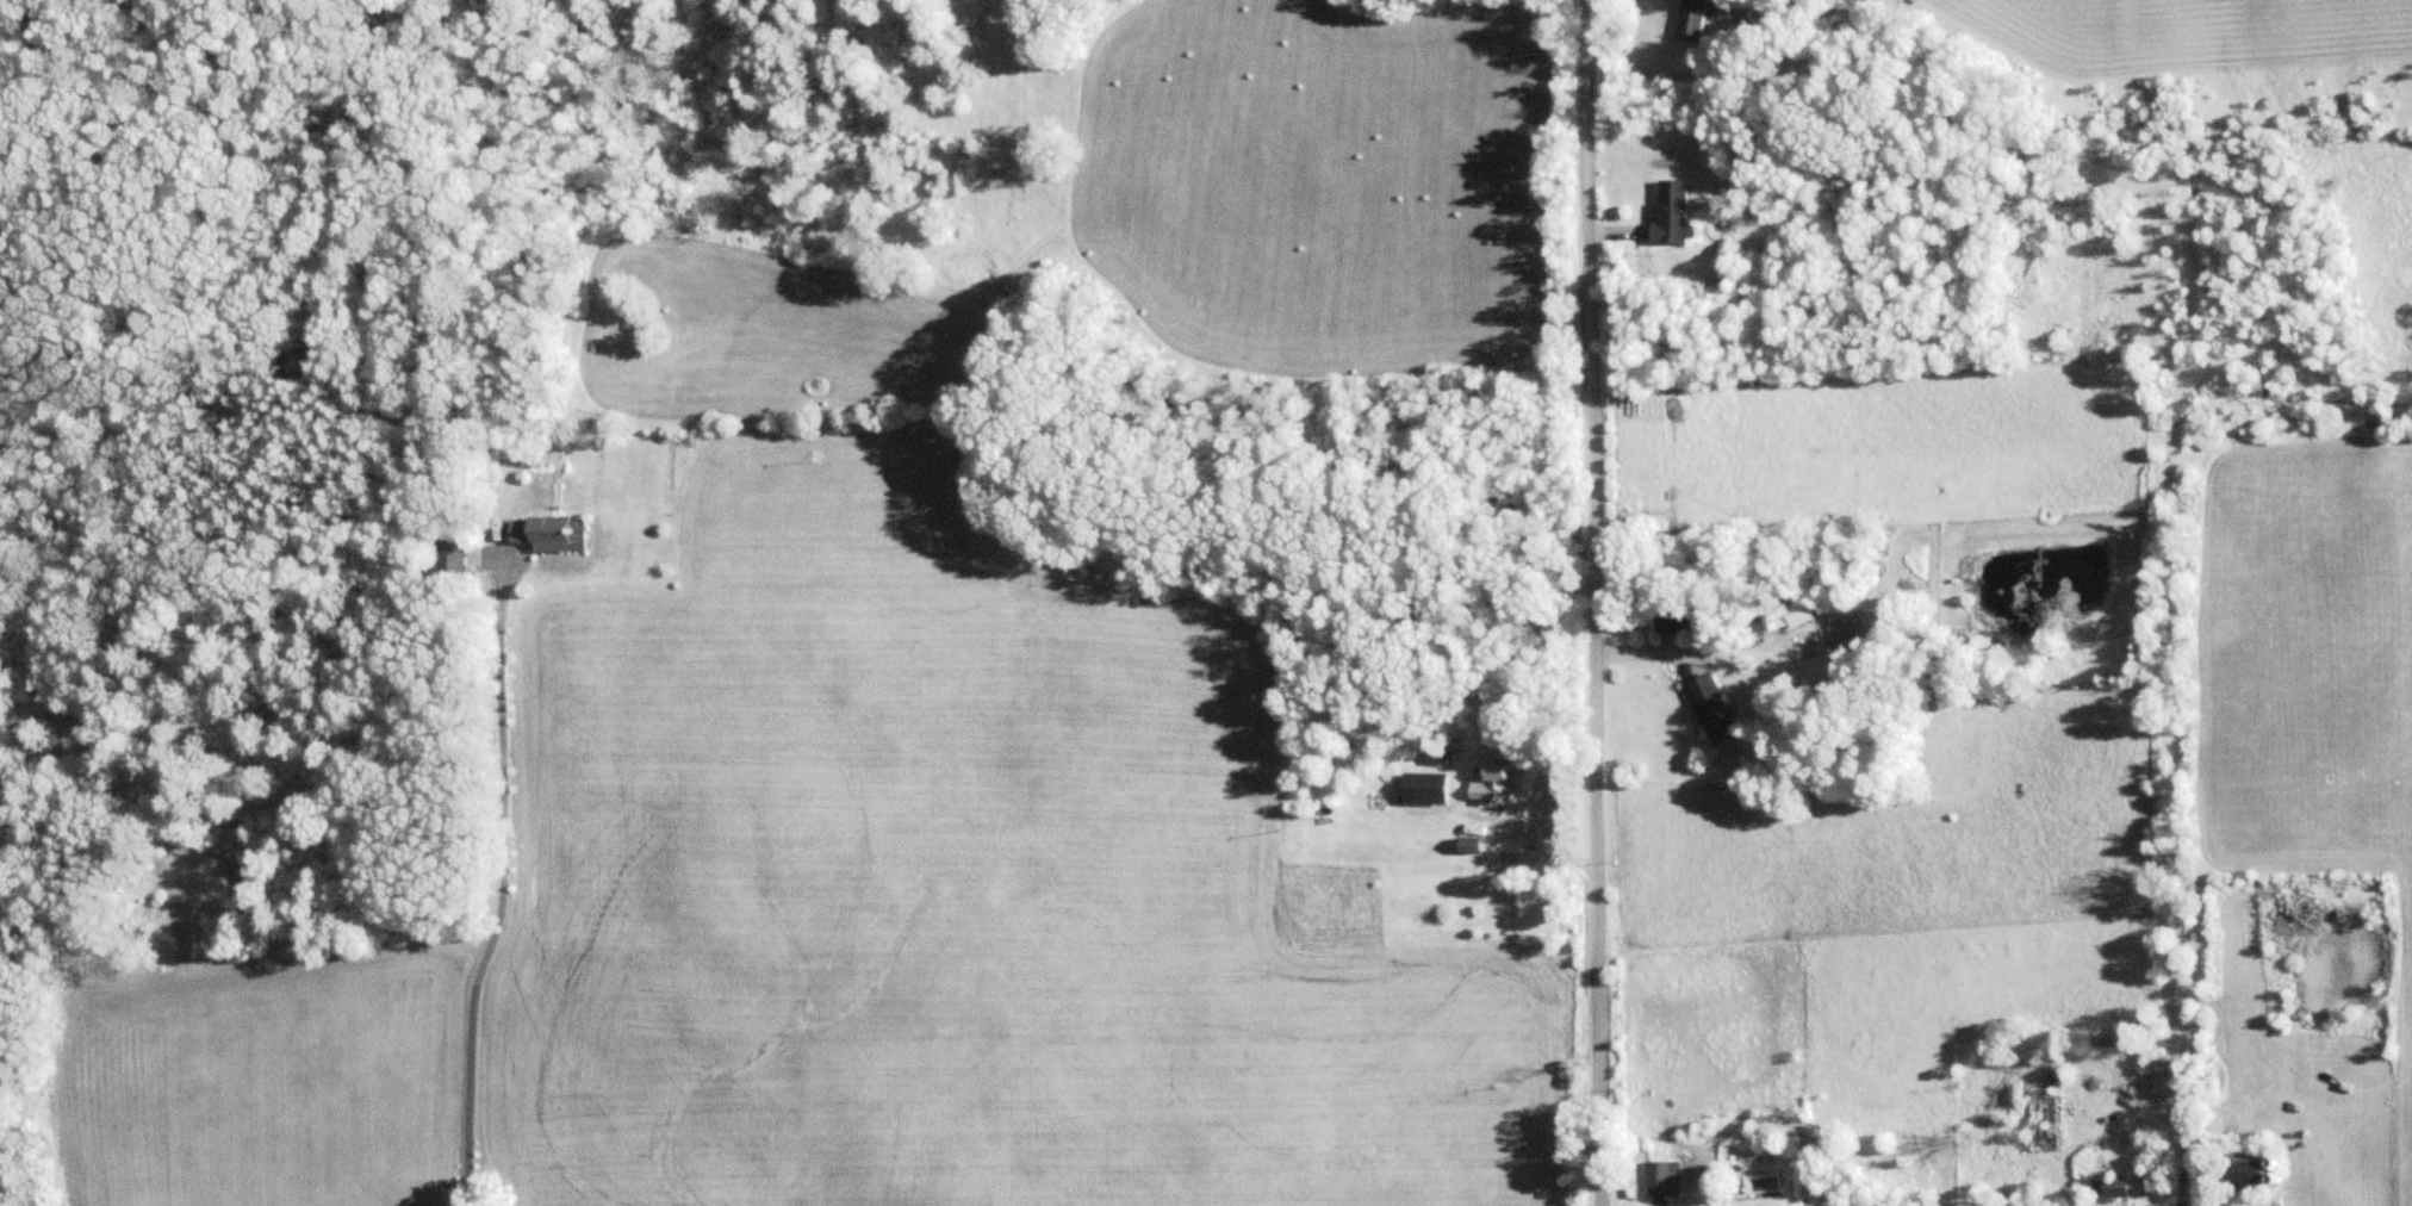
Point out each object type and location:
building: (1693, 19)
crop: (2186, 37)
building: (1676, 211)
building: (549, 534)
road: (1594, 603)
building: (1802, 614)
building: (1679, 622)
crop: (2310, 683)
building: (1714, 709)
building: (1438, 754)
building: (1496, 782)
building: (1430, 788)
crop: (949, 897)
building: (2256, 1174)
building: (1664, 1177)
building: (2113, 1187)

